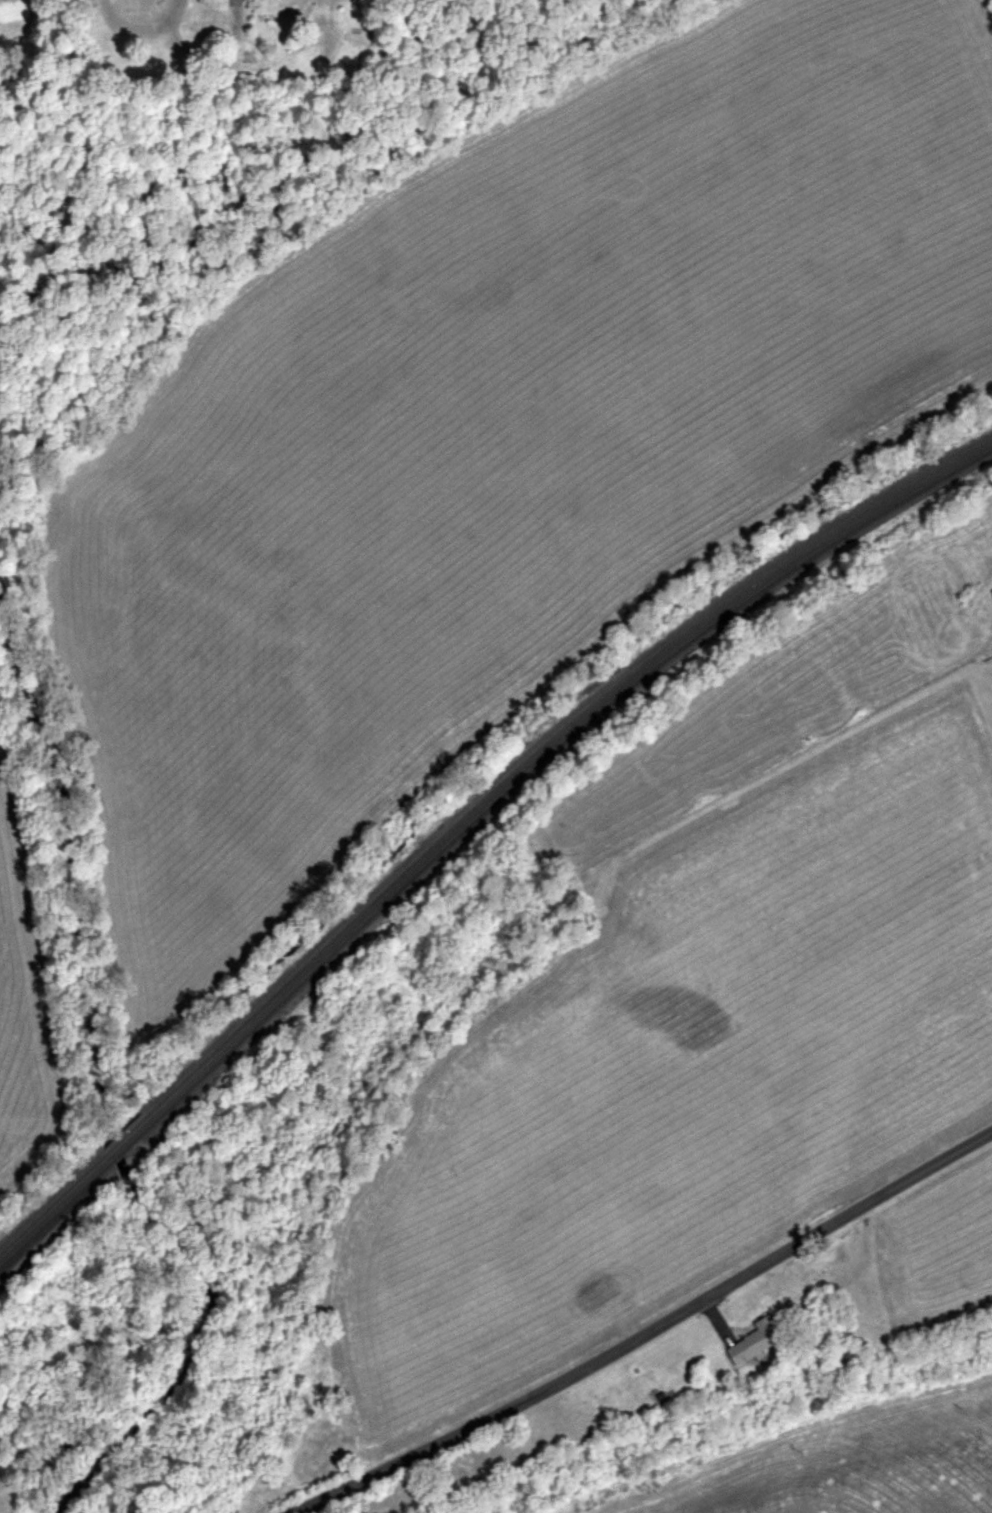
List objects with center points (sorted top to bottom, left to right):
road: (169, 16)
road: (175, 42)
crop: (509, 431)
railway: (544, 758)
crop: (21, 1044)
crop: (683, 1080)
railway: (123, 1150)
railway: (51, 1219)
crop: (924, 1258)
road: (660, 1334)
building: (759, 1341)
crop: (864, 1470)

